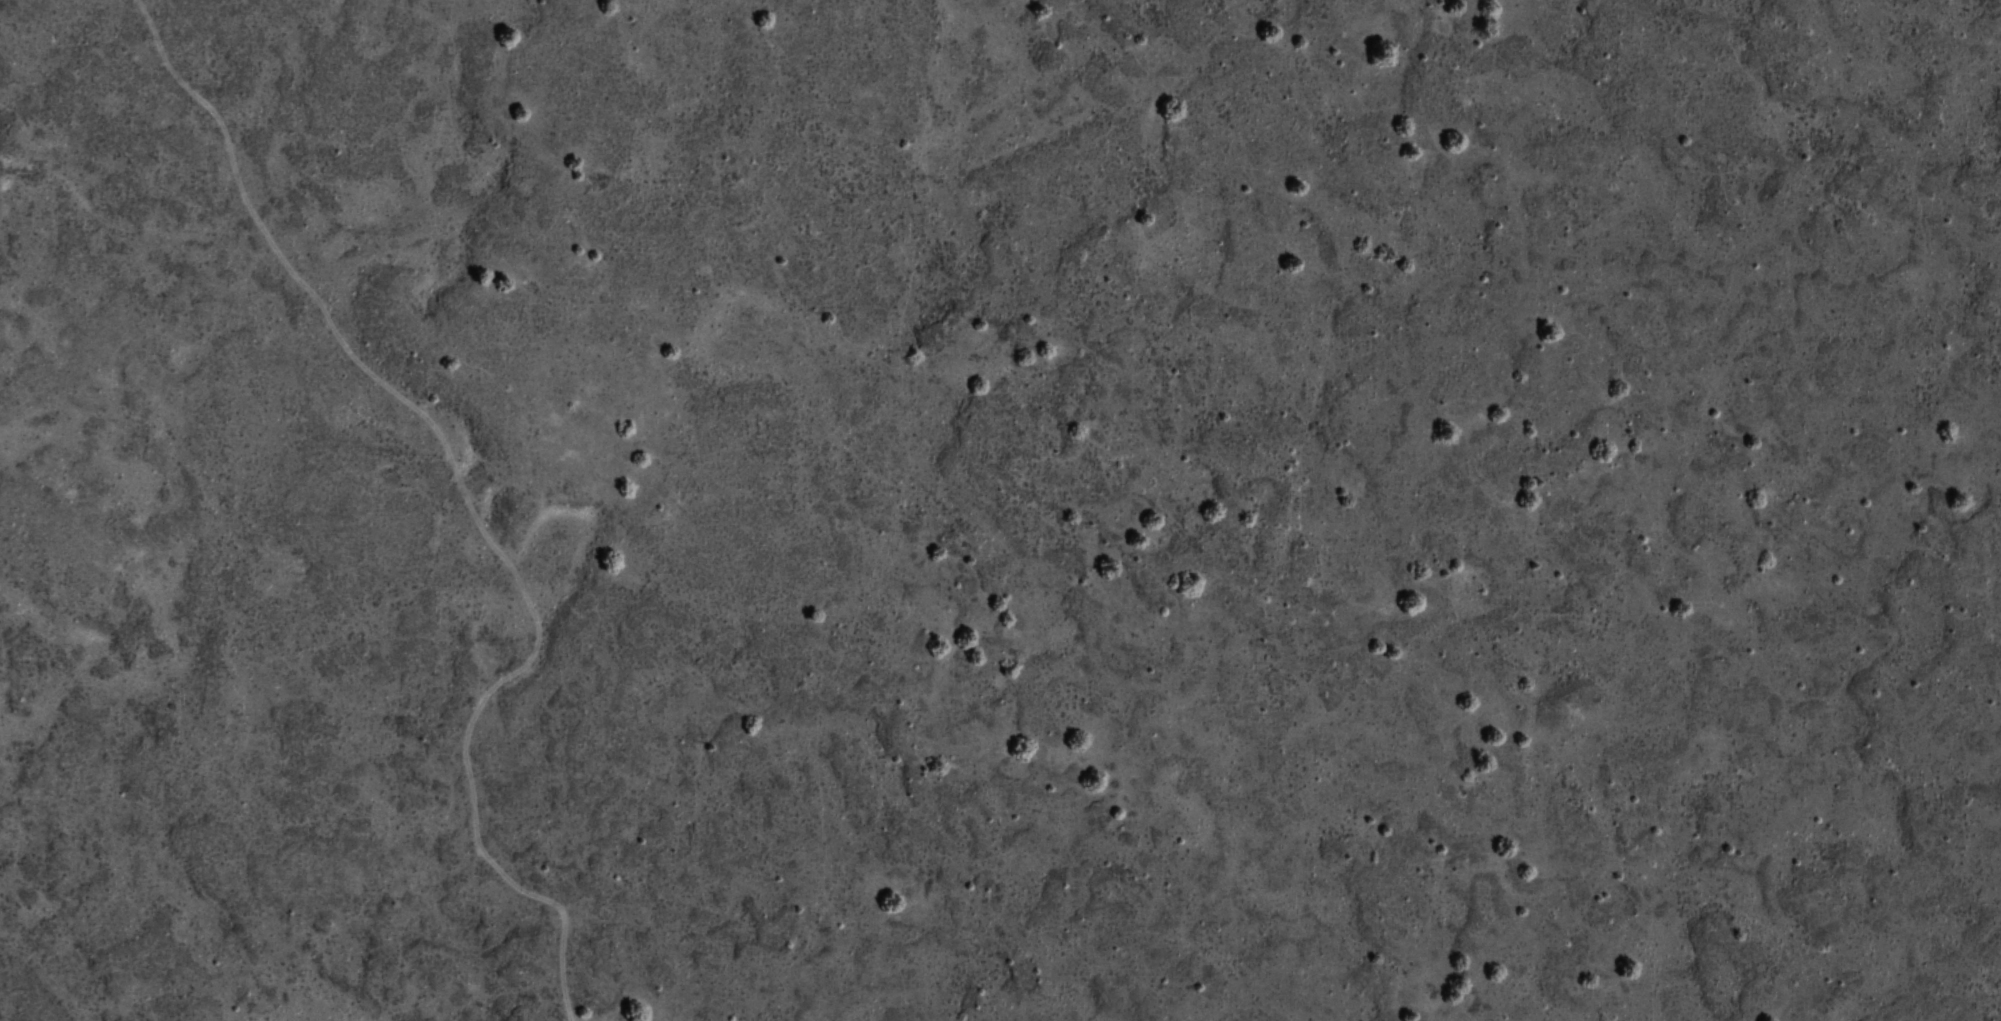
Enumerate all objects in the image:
road: (473, 501)

